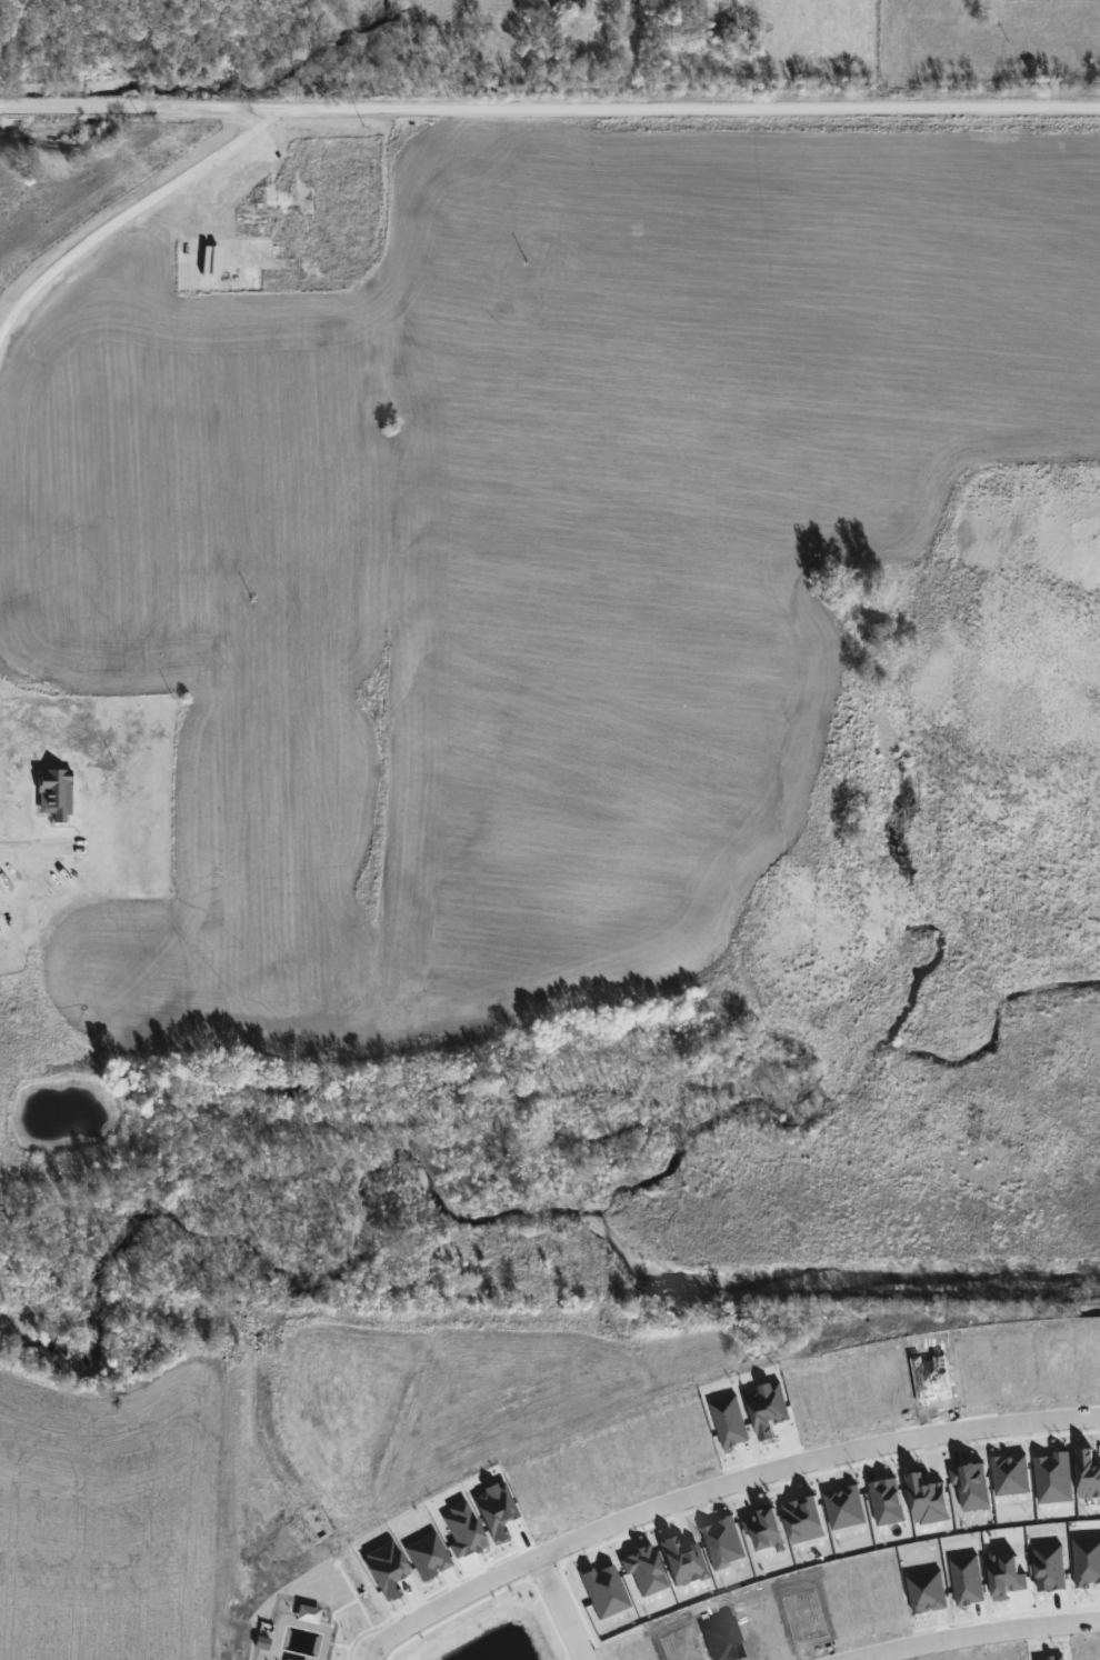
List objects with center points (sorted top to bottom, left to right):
road: (549, 111)
road: (128, 211)
building: (56, 794)
road: (717, 1486)
road: (560, 1608)
road: (978, 1636)

